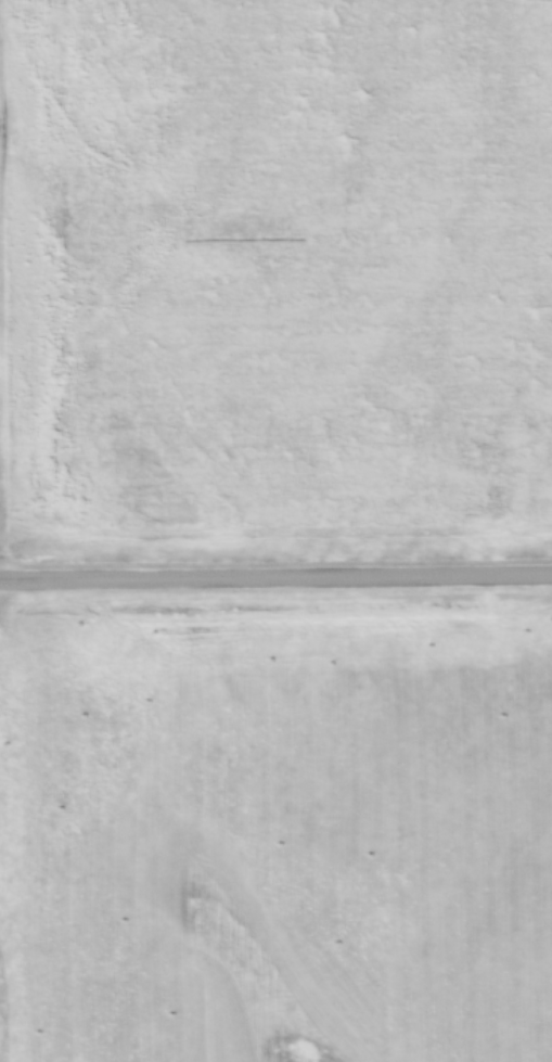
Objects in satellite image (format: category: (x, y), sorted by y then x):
road: (275, 572)

